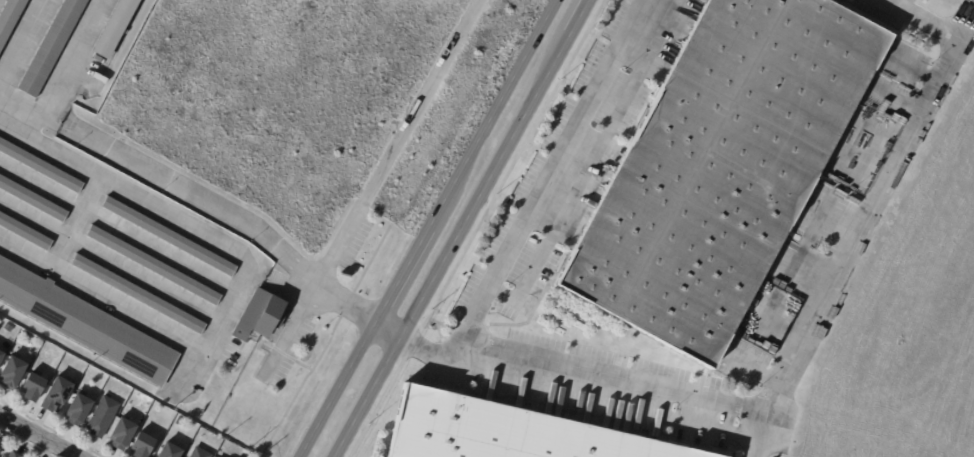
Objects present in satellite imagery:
building: (10, 18)
road: (575, 21)
road: (22, 41)
building: (52, 46)
road: (74, 58)
road: (22, 105)
road: (397, 141)
building: (714, 164)
building: (41, 167)
road: (548, 177)
road: (185, 193)
building: (33, 199)
road: (865, 211)
road: (426, 227)
building: (25, 232)
building: (169, 237)
road: (447, 249)
building: (154, 266)
road: (241, 280)
road: (281, 290)
building: (140, 295)
road: (346, 303)
building: (262, 316)
building: (85, 324)
building: (9, 329)
road: (290, 329)
road: (386, 331)
building: (53, 351)
building: (1, 357)
road: (580, 367)
building: (13, 374)
road: (304, 380)
building: (34, 387)
building: (57, 396)
building: (79, 410)
building: (103, 418)
building: (507, 430)
building: (123, 435)
road: (38, 436)
building: (0, 446)
building: (143, 446)
building: (171, 451)
building: (200, 453)
building: (13, 455)
building: (5, 456)
building: (217, 456)

